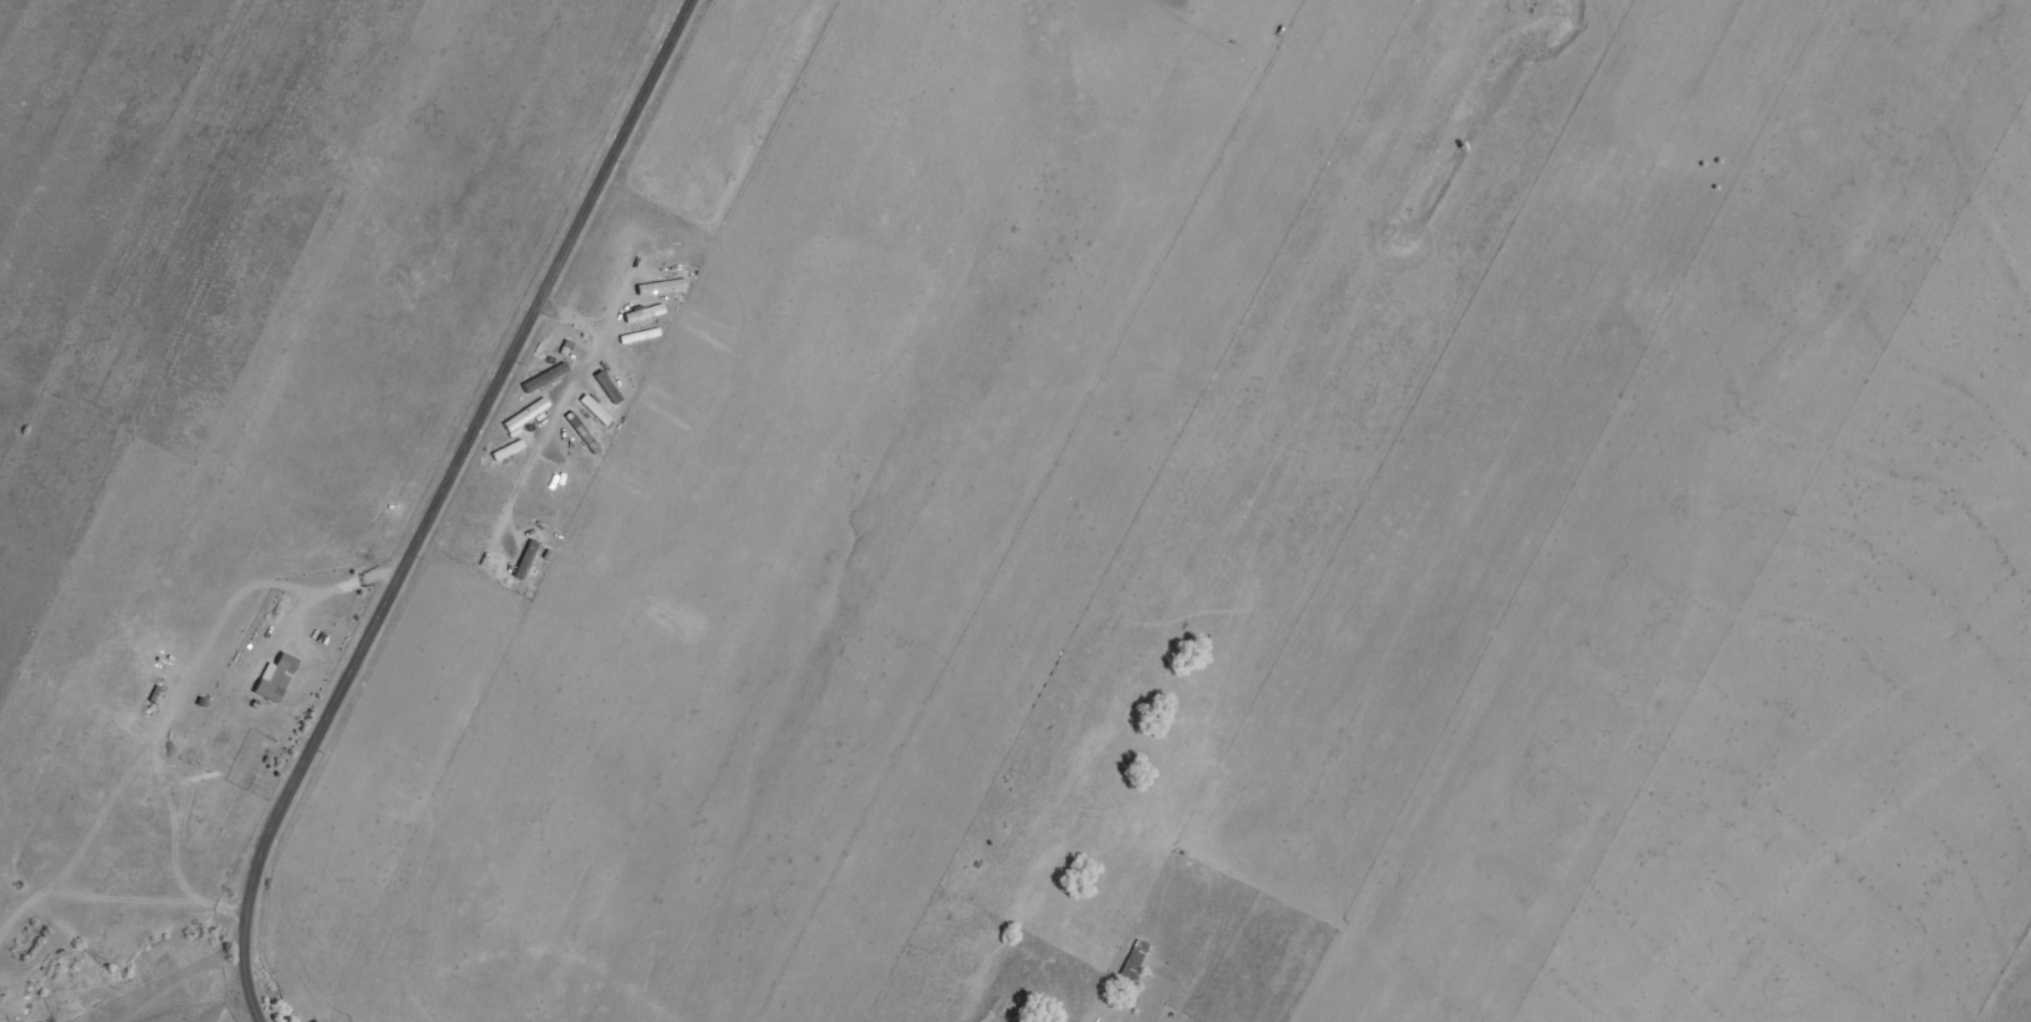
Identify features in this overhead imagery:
building: (669, 261)
building: (663, 288)
building: (647, 314)
building: (642, 336)
building: (625, 368)
building: (607, 384)
building: (597, 410)
building: (528, 415)
building: (585, 434)
building: (509, 450)
building: (556, 483)
road: (434, 503)
building: (471, 528)
building: (528, 560)
building: (280, 679)
building: (1130, 961)
road: (190, 997)

